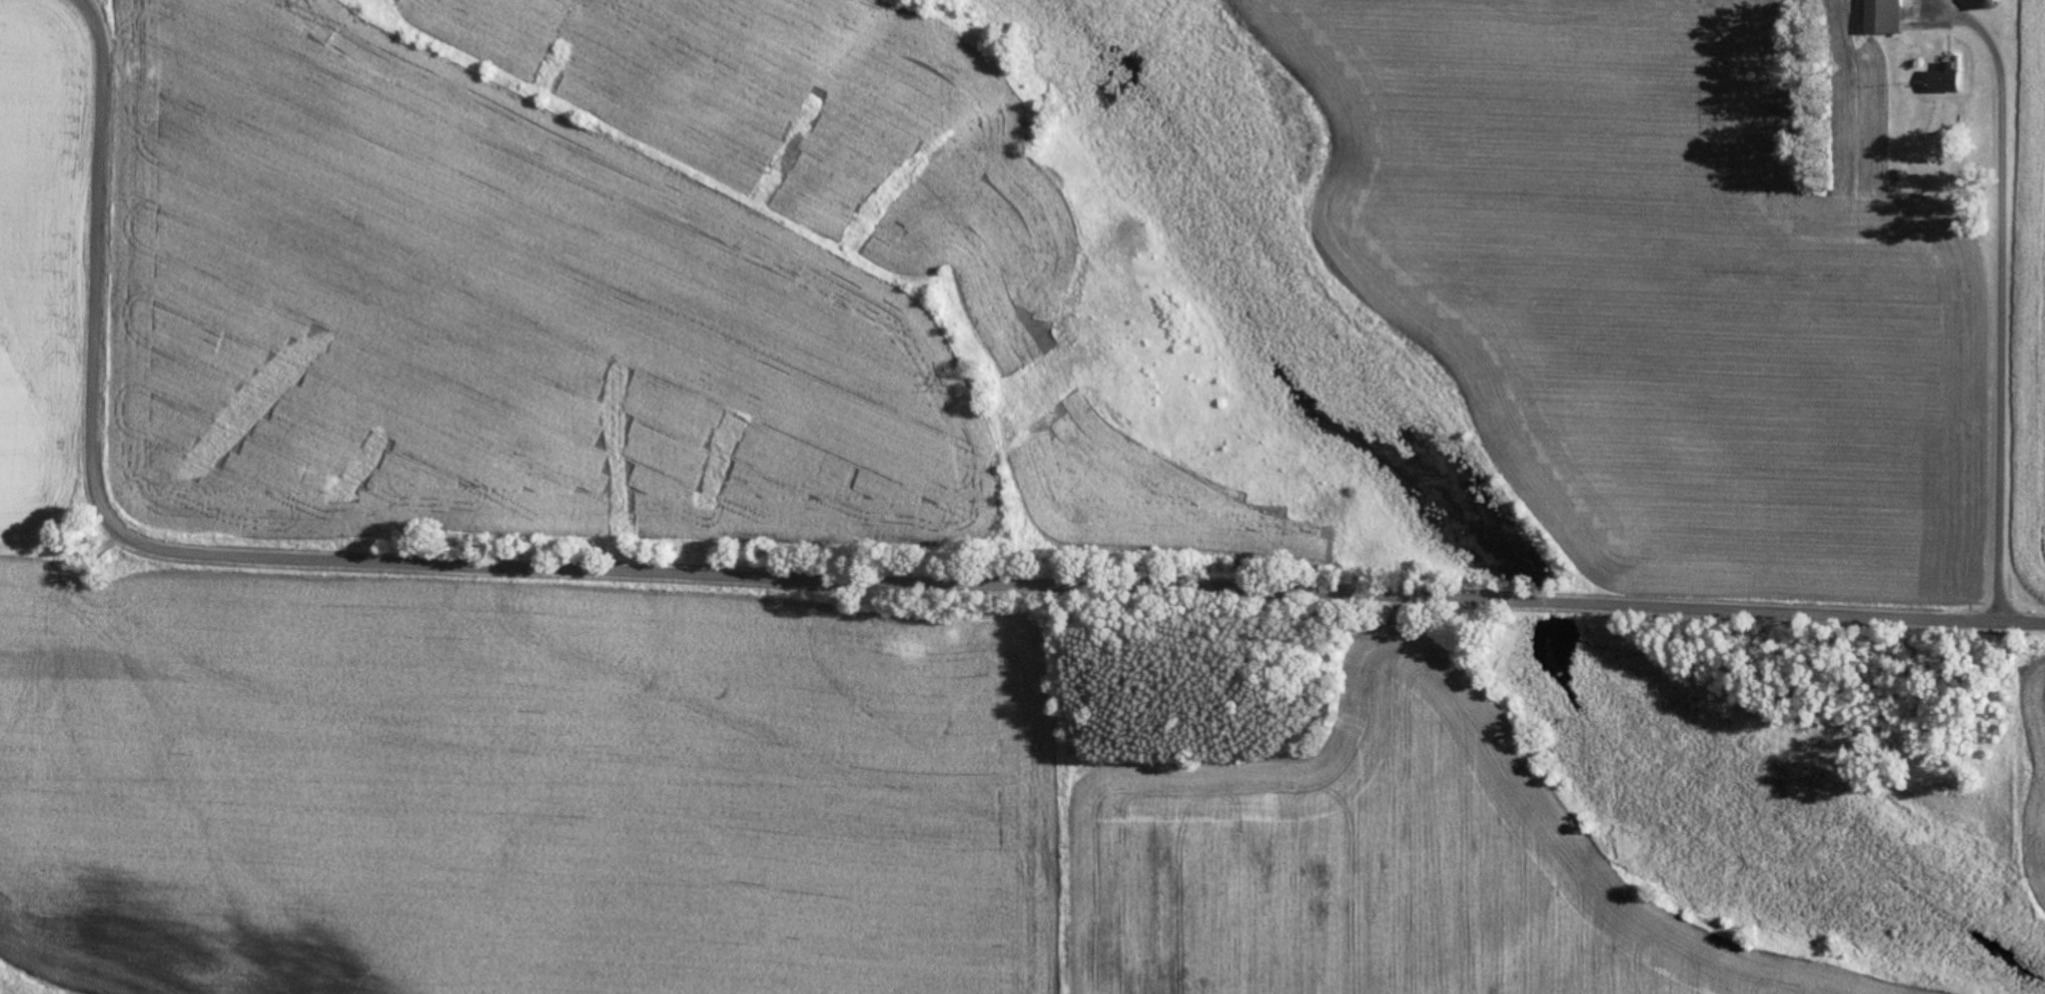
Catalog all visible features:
building: (1987, 4)
building: (1881, 17)
road: (1981, 35)
building: (1943, 79)
road: (1999, 353)
road: (807, 575)

